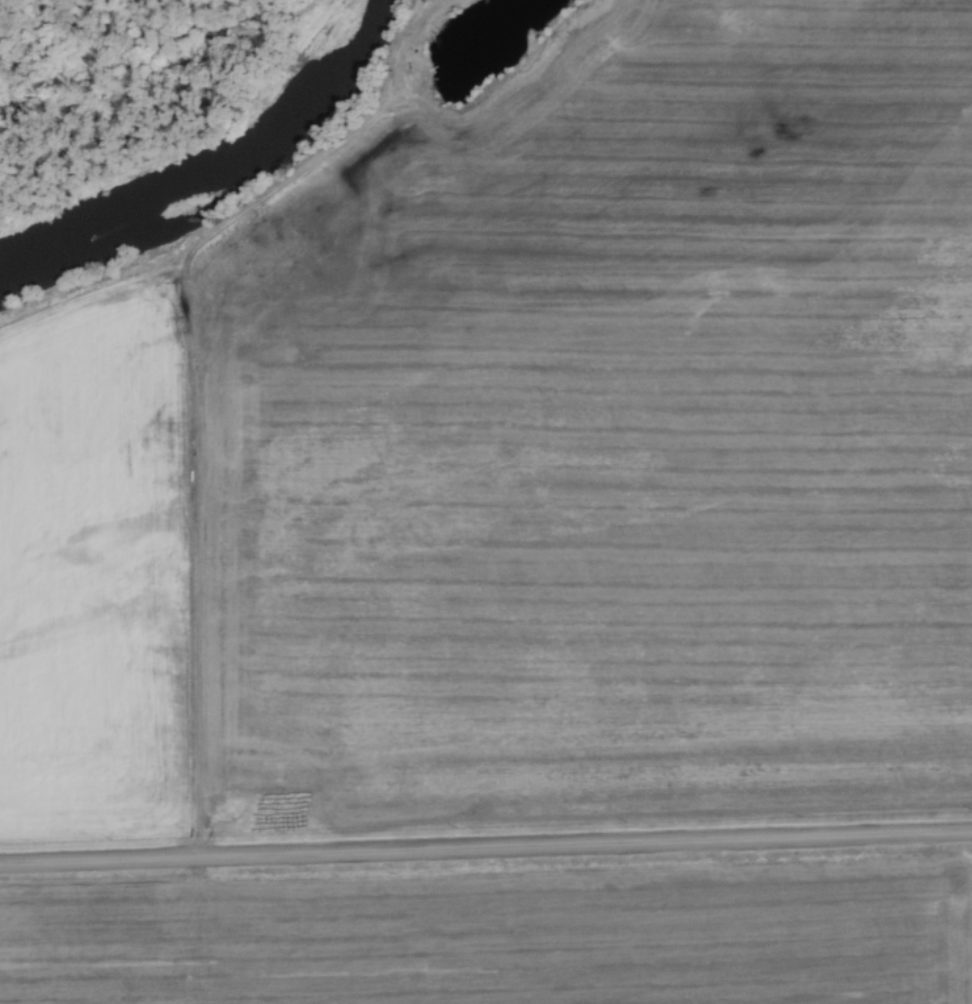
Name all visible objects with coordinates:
river: (214, 165)
crop: (526, 457)
road: (486, 849)

